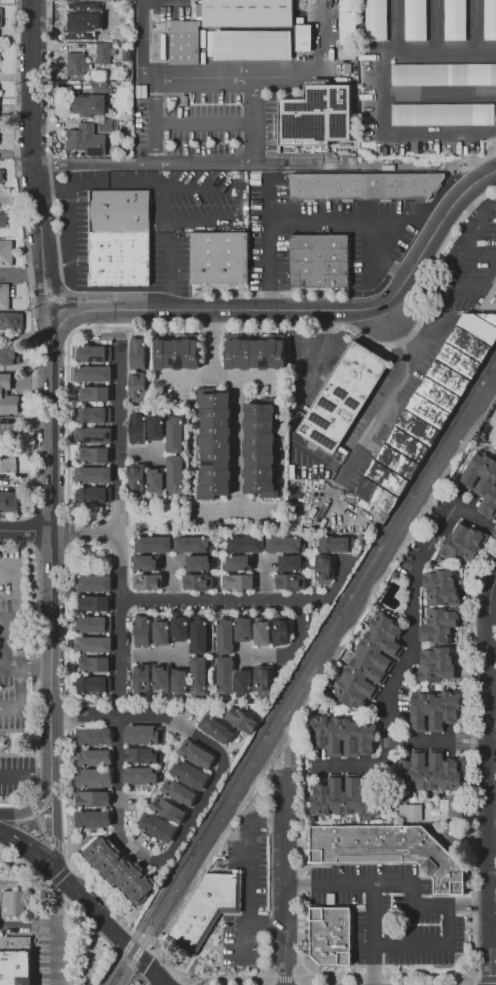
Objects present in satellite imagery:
building: (101, 8)
building: (489, 19)
building: (455, 20)
building: (377, 21)
building: (415, 21)
building: (74, 23)
road: (433, 23)
road: (472, 23)
road: (394, 24)
building: (112, 34)
building: (239, 34)
road: (143, 40)
road: (404, 47)
building: (102, 53)
building: (125, 54)
building: (346, 55)
building: (75, 63)
building: (443, 75)
road: (270, 77)
building: (99, 85)
building: (123, 98)
building: (87, 105)
building: (315, 115)
building: (443, 115)
road: (253, 120)
building: (107, 126)
road: (31, 128)
building: (260, 134)
road: (395, 135)
building: (85, 140)
road: (136, 161)
road: (258, 162)
building: (1, 177)
road: (122, 182)
building: (362, 187)
road: (19, 198)
road: (486, 206)
road: (467, 207)
road: (178, 212)
building: (2, 221)
road: (309, 223)
building: (119, 239)
building: (6, 253)
building: (220, 260)
building: (318, 262)
road: (168, 274)
road: (53, 279)
road: (439, 284)
road: (43, 293)
building: (4, 296)
road: (95, 297)
road: (307, 312)
building: (10, 320)
road: (120, 328)
building: (254, 352)
building: (93, 353)
building: (138, 353)
road: (316, 353)
building: (9, 354)
building: (177, 354)
building: (93, 374)
building: (138, 386)
road: (394, 387)
building: (94, 393)
building: (342, 396)
building: (8, 397)
road: (237, 398)
building: (431, 405)
building: (94, 415)
building: (137, 426)
building: (156, 426)
building: (1, 427)
building: (174, 434)
building: (94, 436)
building: (215, 443)
building: (259, 450)
building: (93, 454)
building: (8, 461)
building: (175, 474)
building: (93, 475)
building: (138, 477)
building: (157, 479)
building: (480, 481)
building: (96, 496)
building: (9, 501)
road: (478, 517)
road: (118, 519)
road: (49, 520)
road: (25, 531)
road: (84, 532)
building: (154, 542)
building: (247, 542)
building: (283, 542)
building: (461, 542)
building: (190, 543)
building: (333, 543)
building: (199, 562)
building: (238, 562)
building: (290, 562)
building: (147, 563)
building: (320, 570)
building: (199, 580)
building: (239, 580)
building: (290, 580)
building: (147, 581)
building: (93, 582)
building: (440, 588)
road: (415, 599)
road: (243, 601)
building: (94, 602)
building: (95, 623)
building: (438, 626)
building: (179, 629)
building: (243, 629)
building: (142, 631)
building: (279, 632)
building: (161, 633)
building: (261, 634)
building: (198, 636)
building: (223, 637)
road: (4, 642)
building: (93, 644)
road: (296, 644)
road: (31, 657)
building: (370, 661)
building: (436, 663)
parking lot: (16, 665)
building: (95, 665)
railway: (300, 665)
road: (2, 668)
road: (27, 669)
building: (198, 673)
building: (226, 673)
building: (161, 677)
railway: (307, 677)
building: (141, 678)
building: (262, 680)
building: (180, 681)
building: (244, 681)
building: (96, 685)
road: (19, 699)
building: (433, 711)
road: (85, 716)
building: (240, 718)
building: (215, 729)
road: (493, 730)
building: (143, 733)
road: (389, 733)
road: (66, 735)
building: (342, 735)
building: (95, 738)
road: (439, 743)
road: (52, 747)
building: (142, 754)
road: (222, 756)
building: (95, 757)
building: (199, 759)
road: (347, 765)
building: (428, 773)
parking lot: (16, 775)
road: (26, 777)
building: (142, 777)
building: (190, 777)
building: (94, 778)
road: (488, 780)
building: (179, 792)
building: (343, 797)
building: (91, 799)
road: (14, 802)
road: (117, 804)
road: (33, 805)
building: (453, 807)
building: (170, 810)
building: (411, 813)
building: (93, 820)
road: (56, 824)
building: (157, 828)
road: (30, 851)
building: (385, 852)
road: (68, 859)
road: (25, 866)
road: (287, 866)
road: (73, 867)
building: (118, 869)
road: (397, 883)
parking lot: (254, 884)
road: (244, 897)
building: (10, 903)
building: (202, 910)
parking lot: (387, 917)
road: (31, 918)
road: (265, 922)
road: (25, 924)
road: (110, 927)
road: (370, 934)
building: (327, 936)
road: (137, 937)
building: (160, 937)
road: (52, 943)
road: (429, 946)
building: (13, 960)
road: (88, 962)
parking lot: (43, 975)
road: (219, 982)
road: (193, 984)

